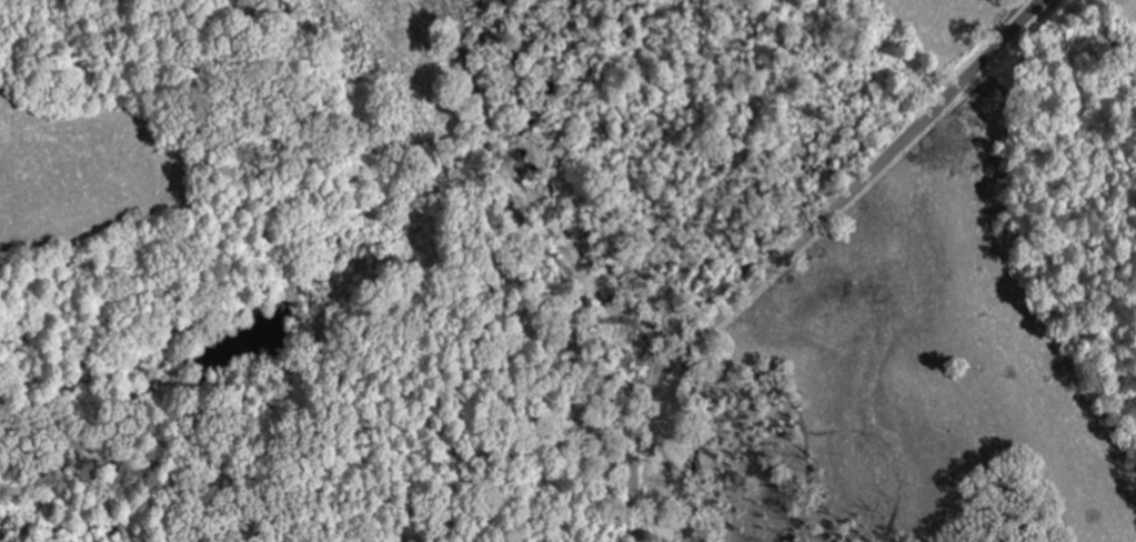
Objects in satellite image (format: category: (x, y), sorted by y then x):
road: (794, 250)

